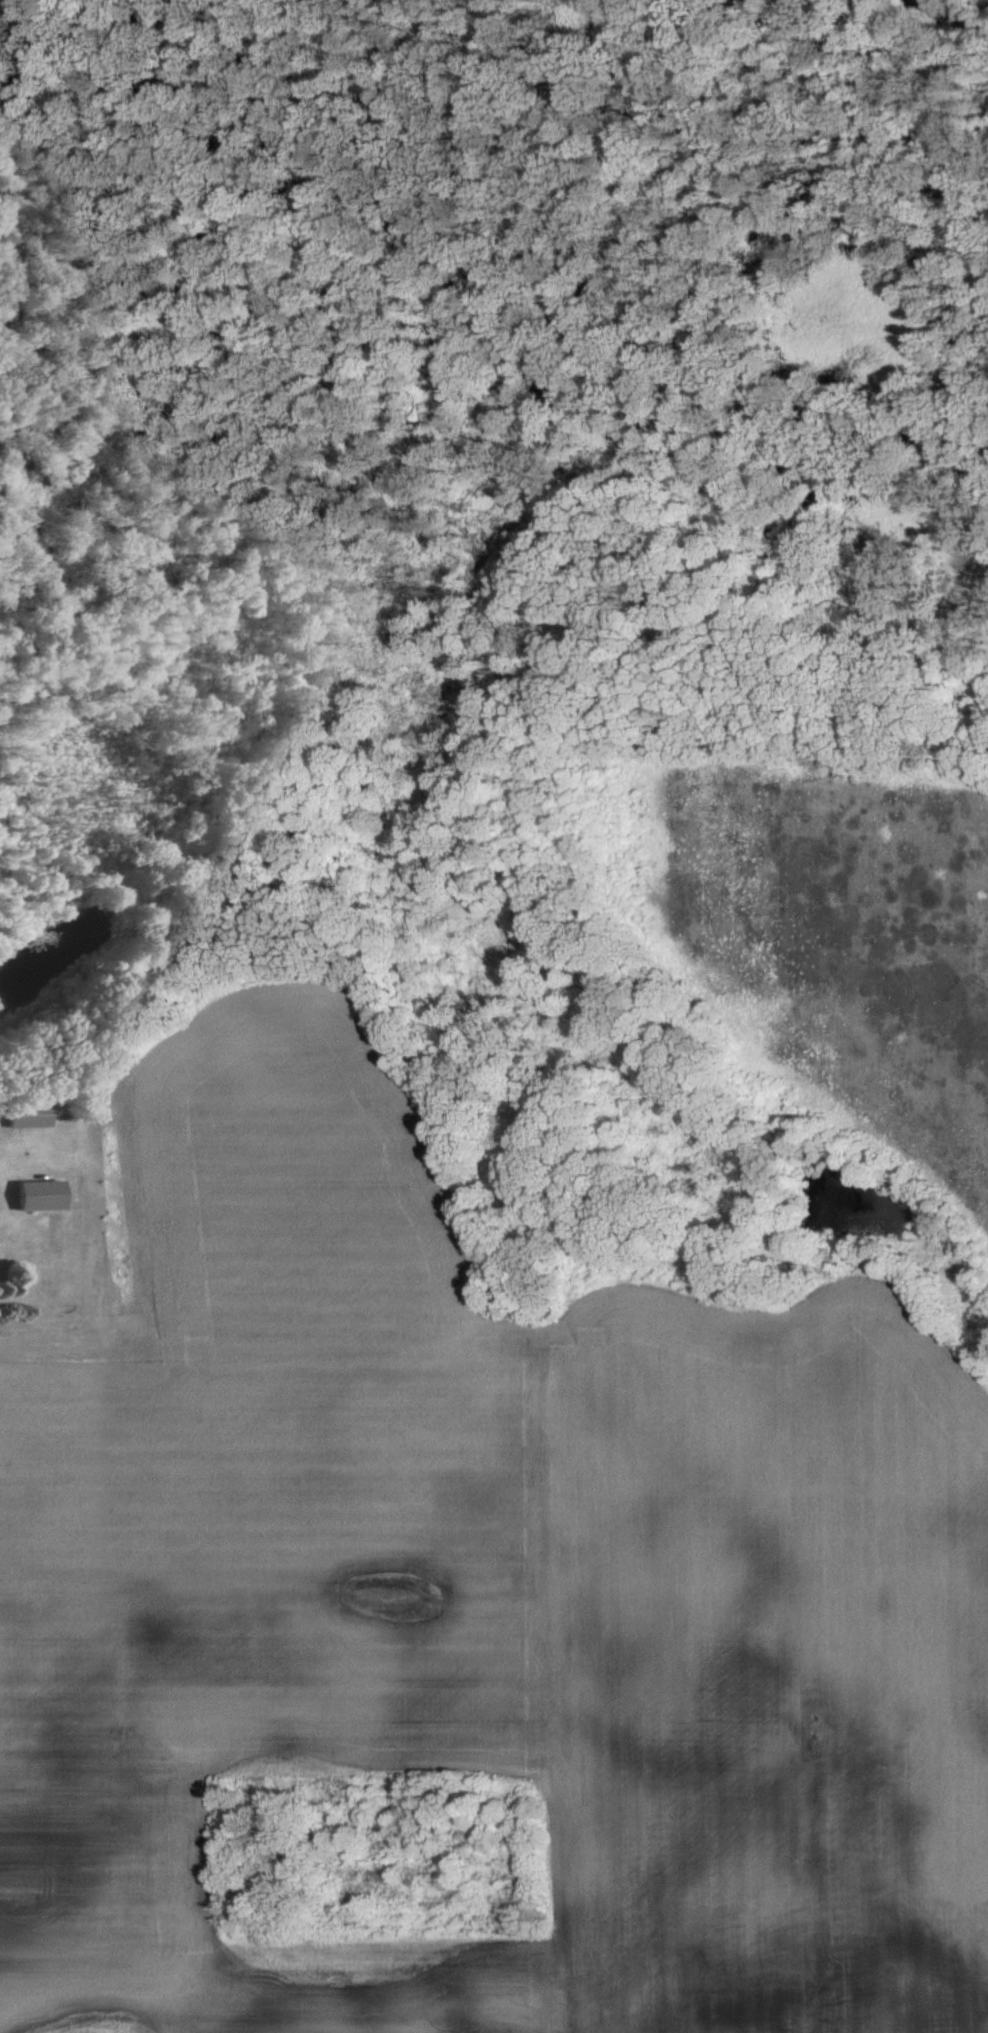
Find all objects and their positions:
river: (966, 11)
road: (731, 527)
road: (973, 539)
road: (849, 629)
road: (744, 642)
road: (962, 702)
building: (29, 1117)
building: (40, 1196)

